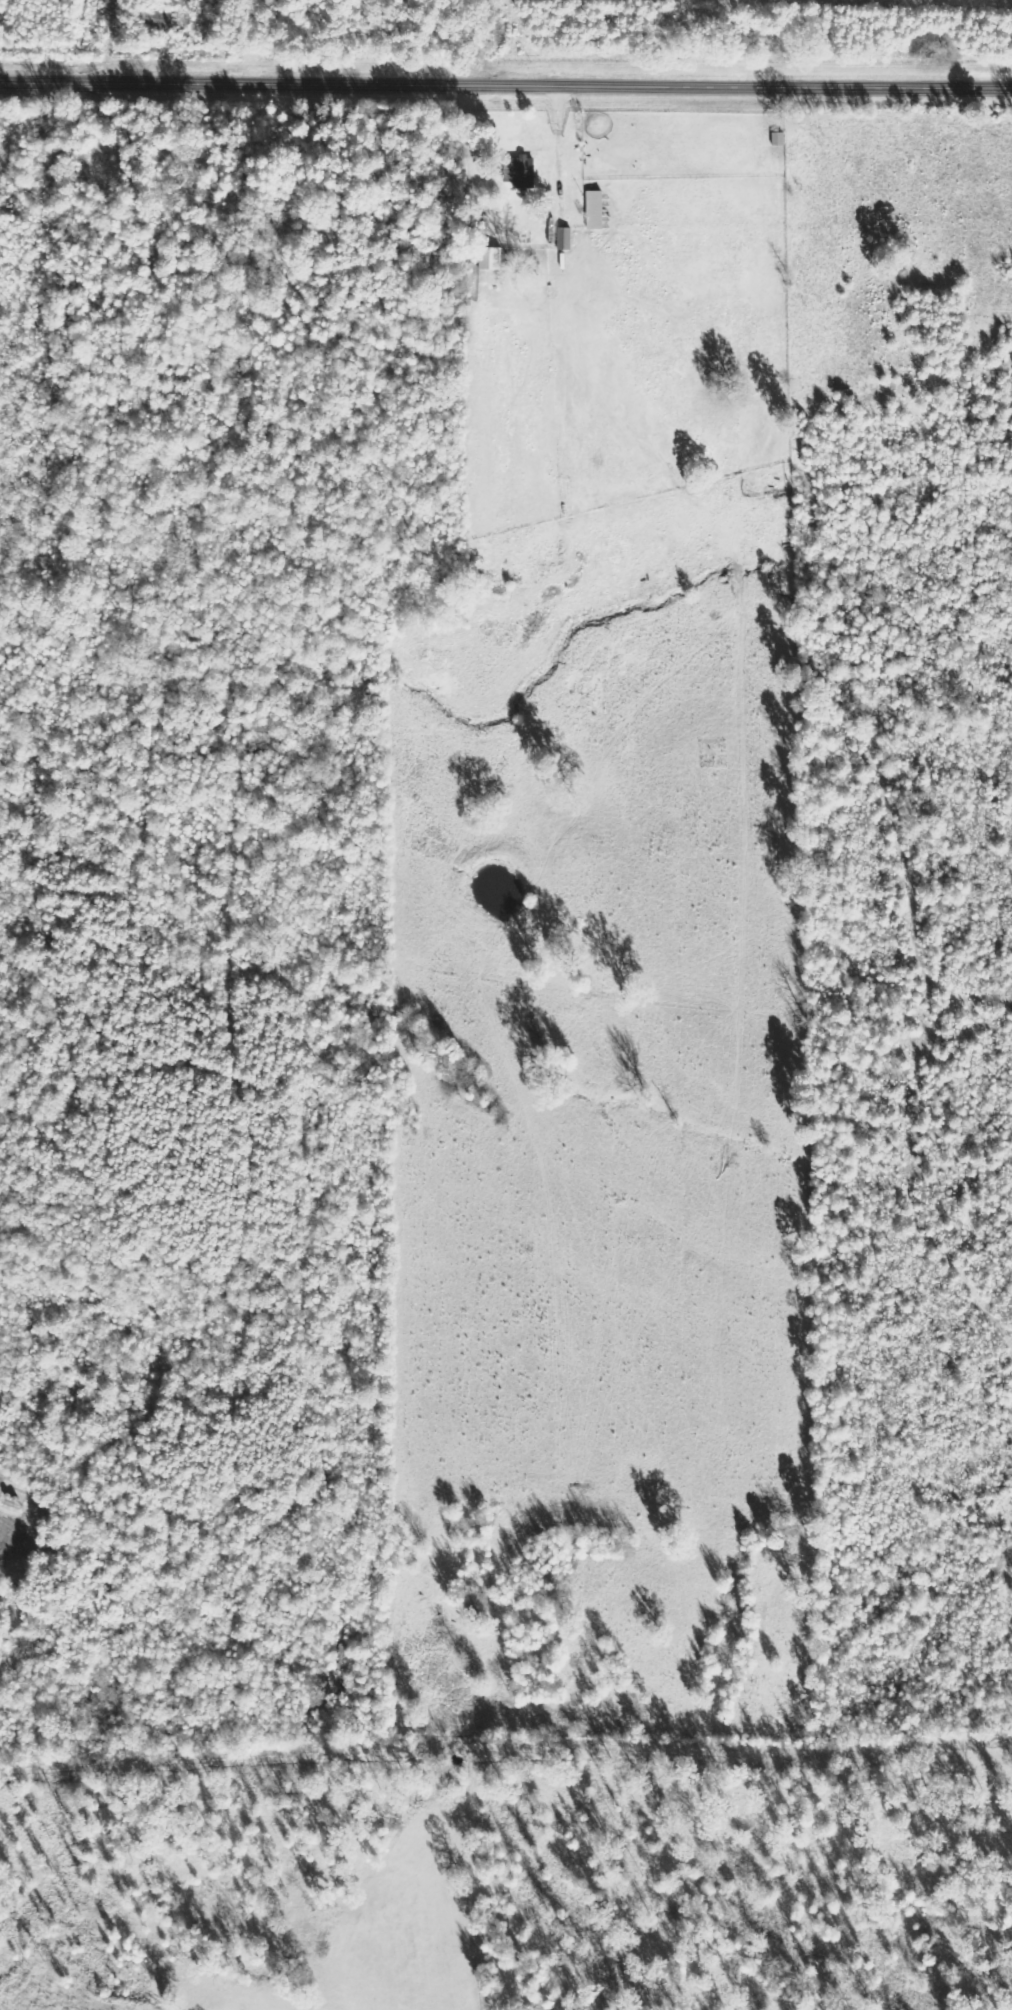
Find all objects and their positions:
road: (505, 86)
building: (517, 172)
building: (592, 210)
building: (563, 239)
building: (487, 259)

